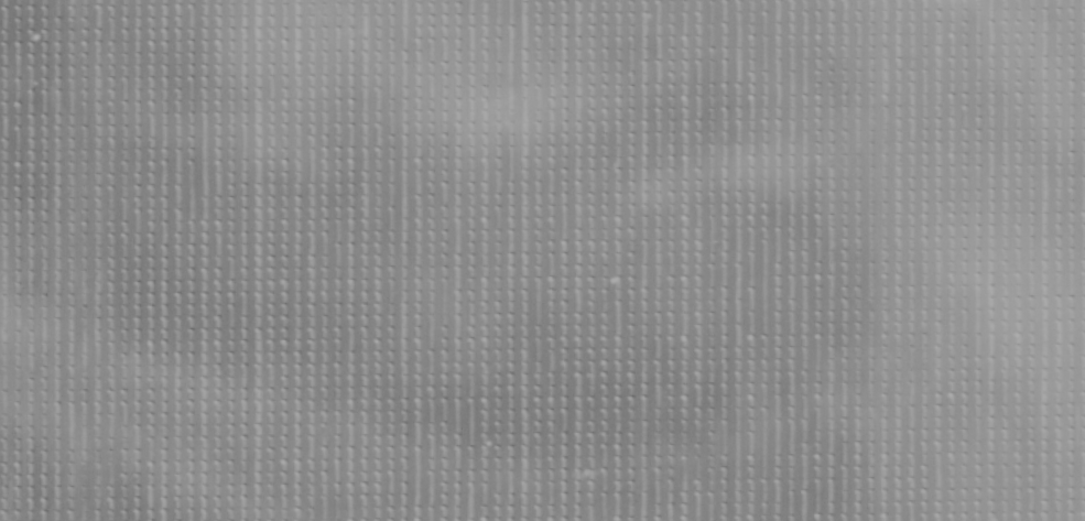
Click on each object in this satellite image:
crop: (542, 260)

